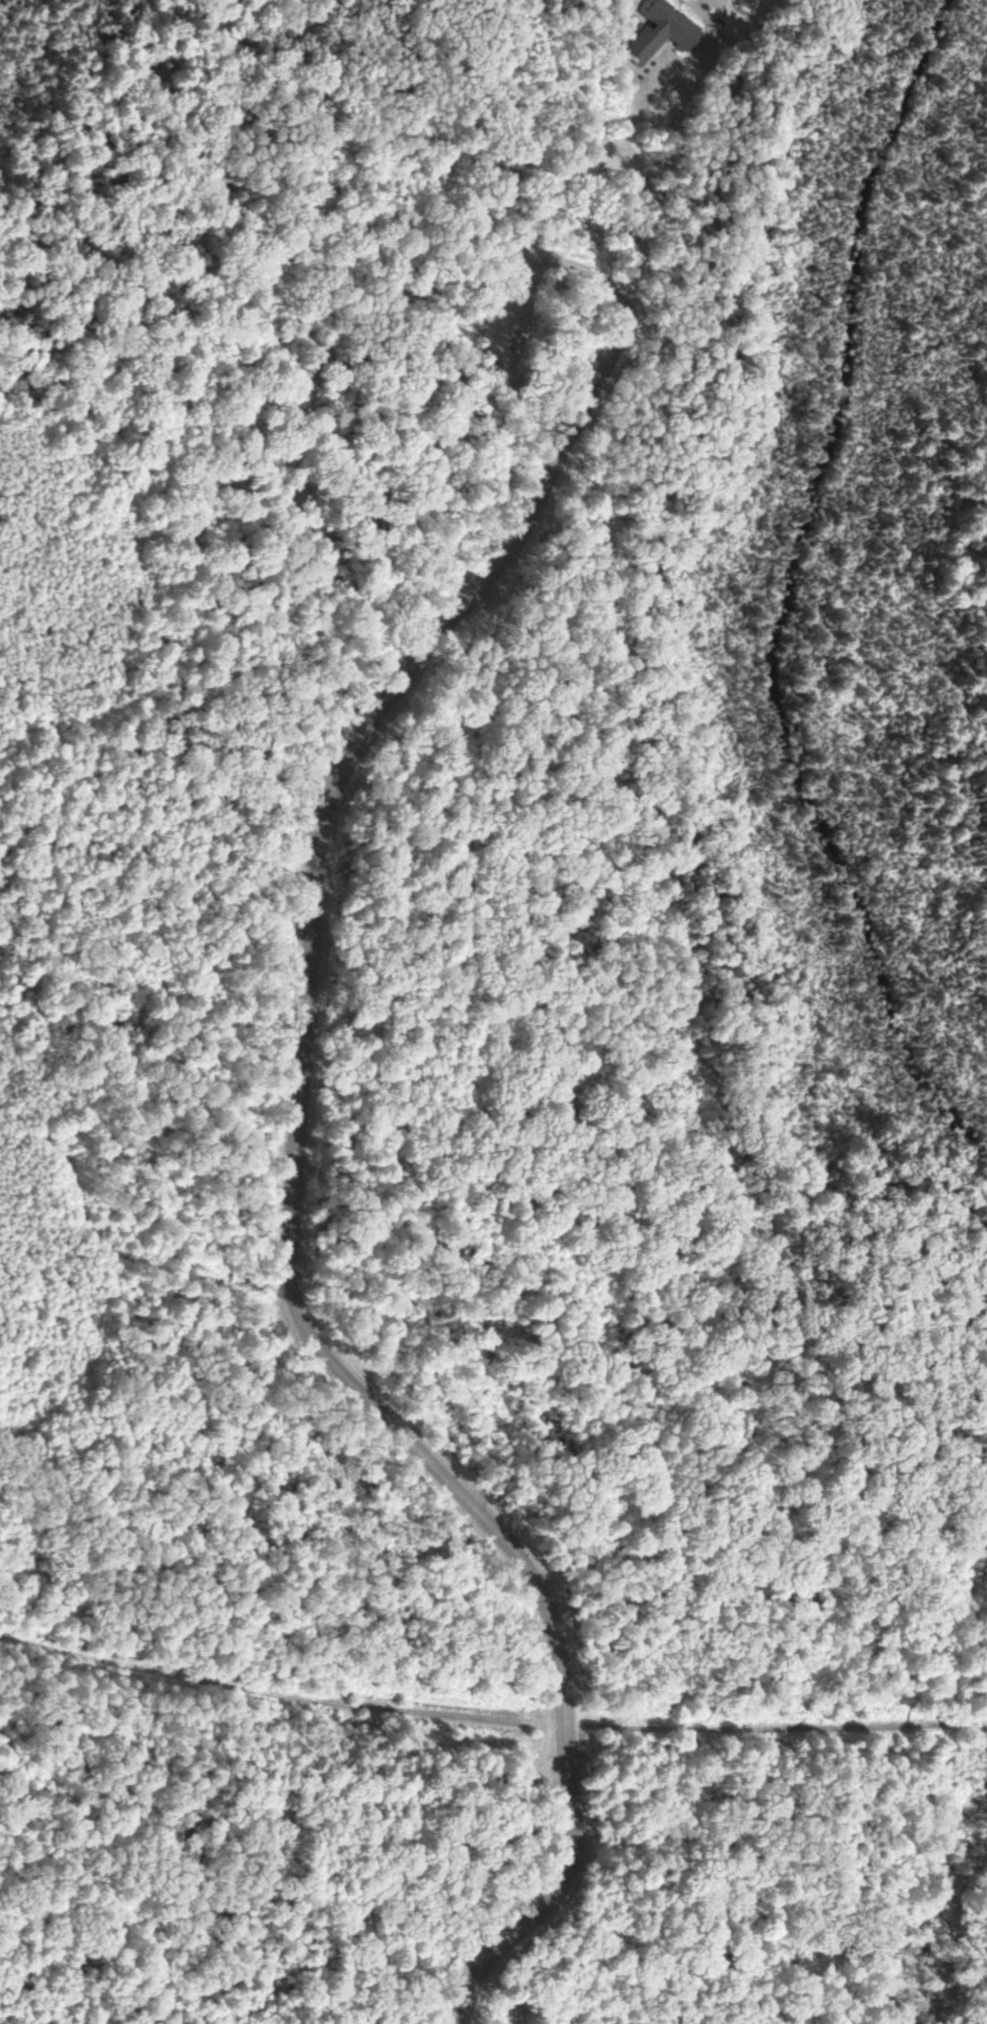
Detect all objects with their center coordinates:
road: (696, 13)
road: (640, 19)
building: (657, 33)
road: (669, 51)
road: (571, 131)
road: (670, 133)
road: (940, 240)
parking lot: (510, 265)
road: (566, 267)
road: (248, 271)
road: (724, 340)
road: (842, 393)
road: (915, 438)
road: (299, 1316)
road: (943, 1677)
road: (490, 1720)
parking lot: (547, 1759)

